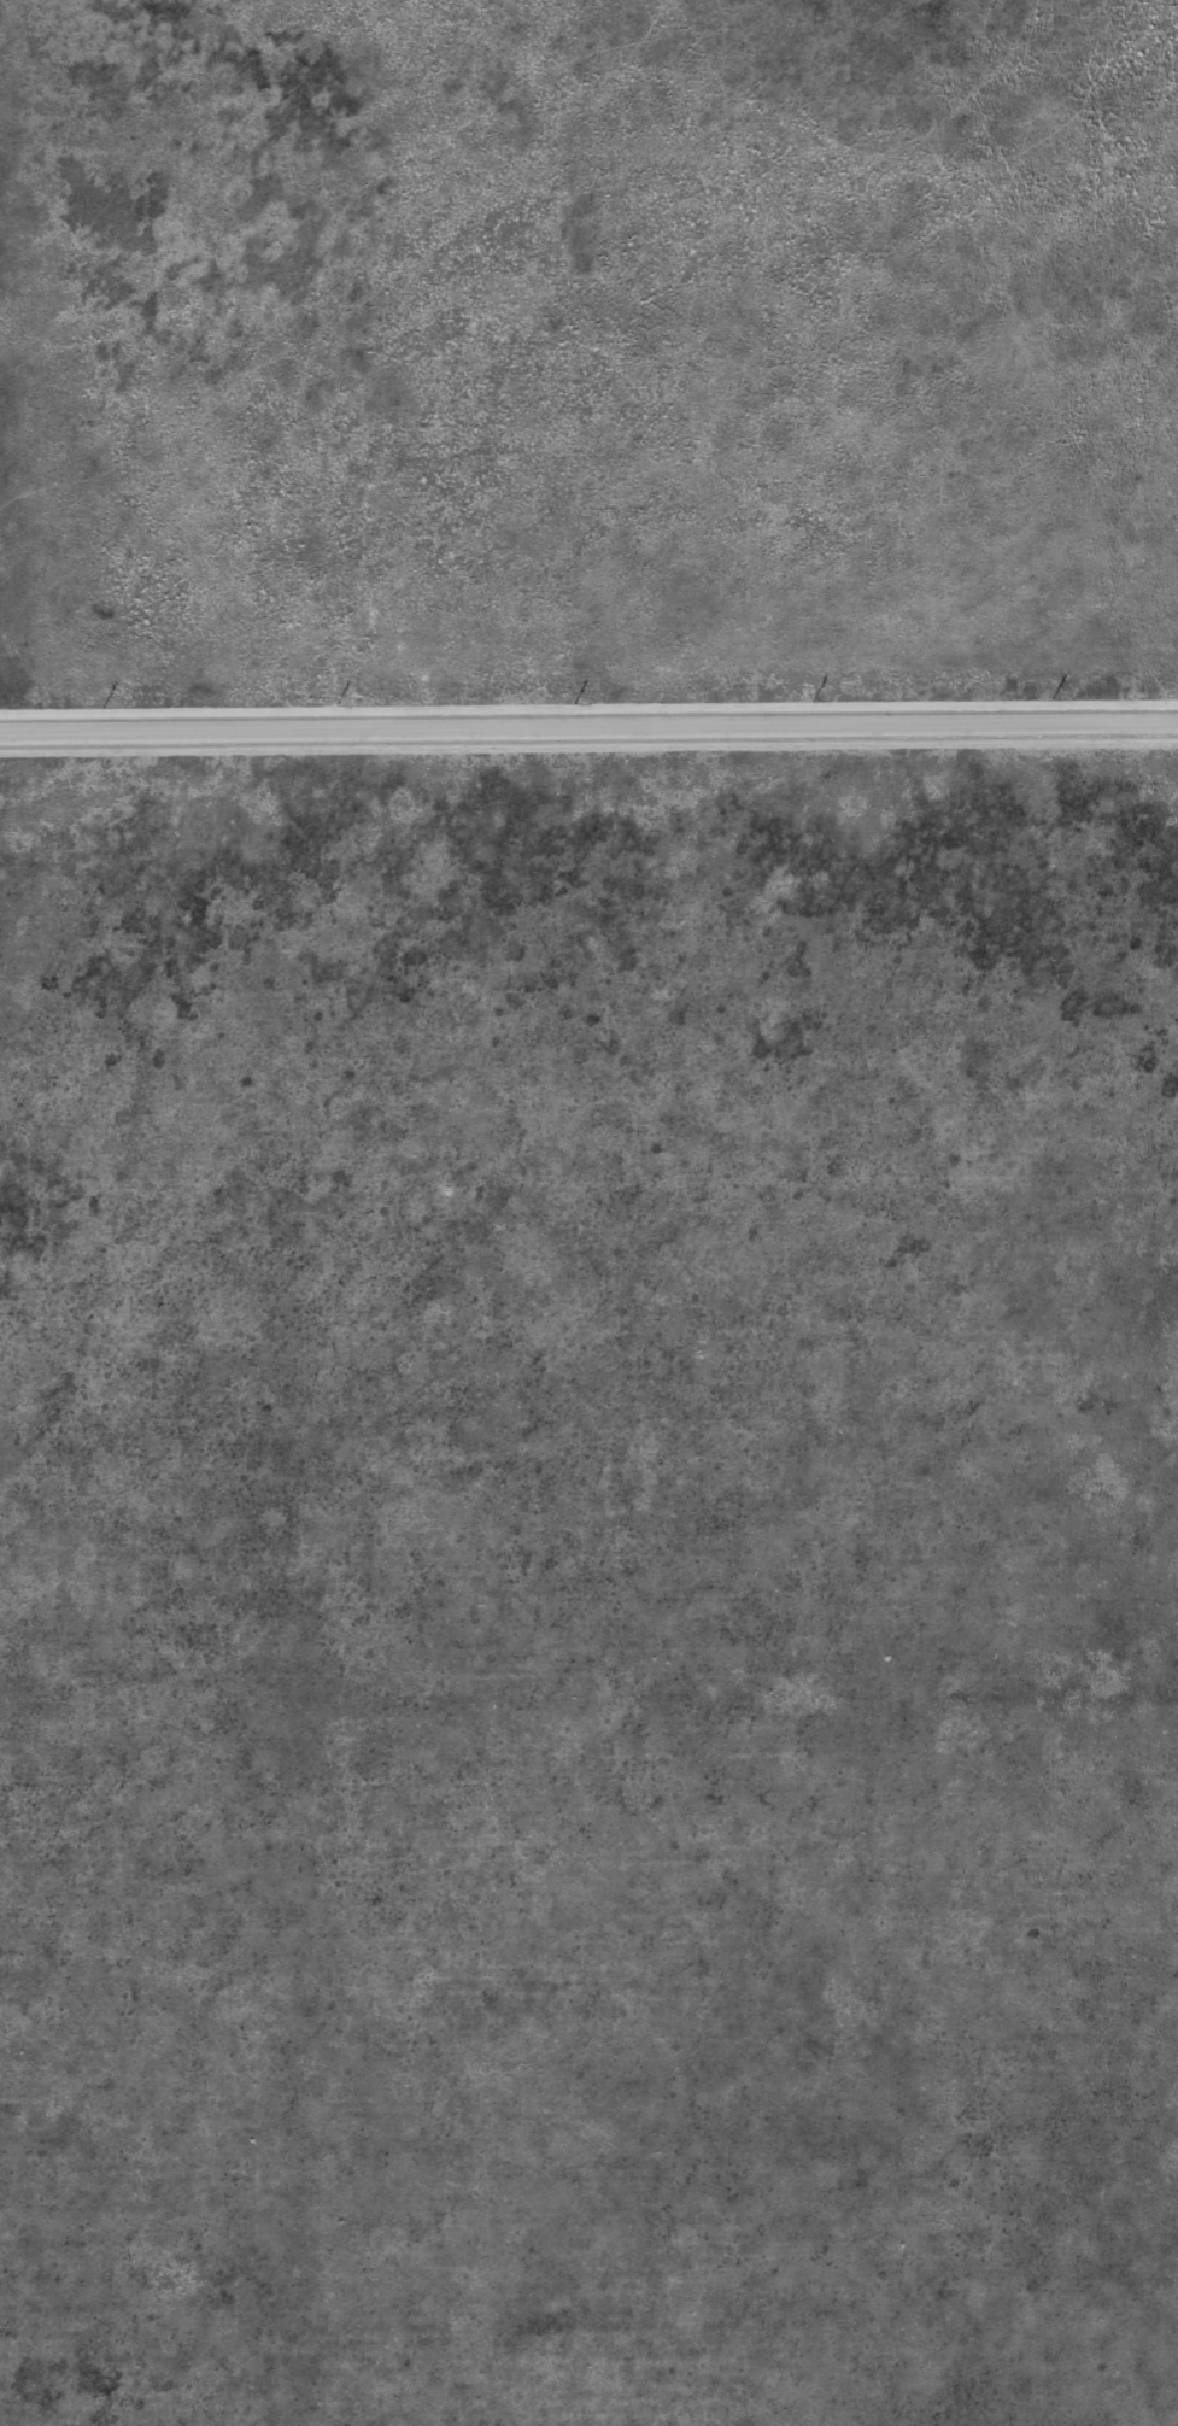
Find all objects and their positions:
road: (588, 762)

